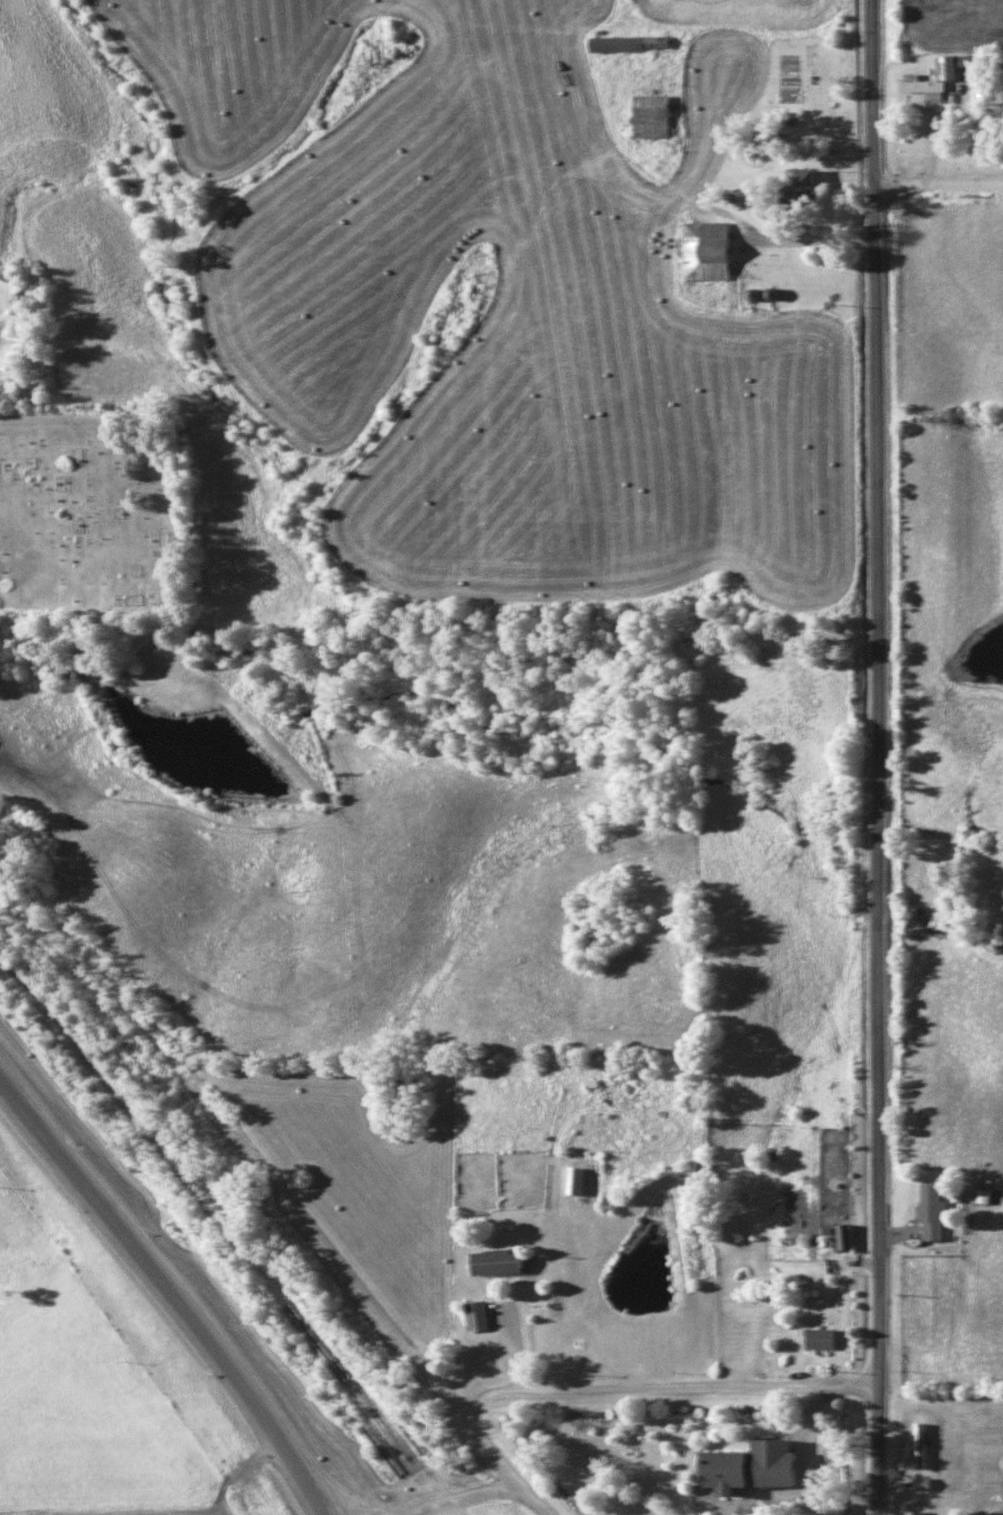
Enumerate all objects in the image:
building: (631, 44)
building: (926, 88)
road: (869, 91)
building: (653, 116)
building: (809, 178)
road: (937, 181)
building: (709, 250)
park: (91, 510)
road: (874, 848)
building: (577, 1180)
building: (936, 1211)
building: (500, 1262)
road: (172, 1290)
building: (824, 1338)
road: (625, 1385)
building: (764, 1466)
road: (488, 1492)
building: (914, 1512)

